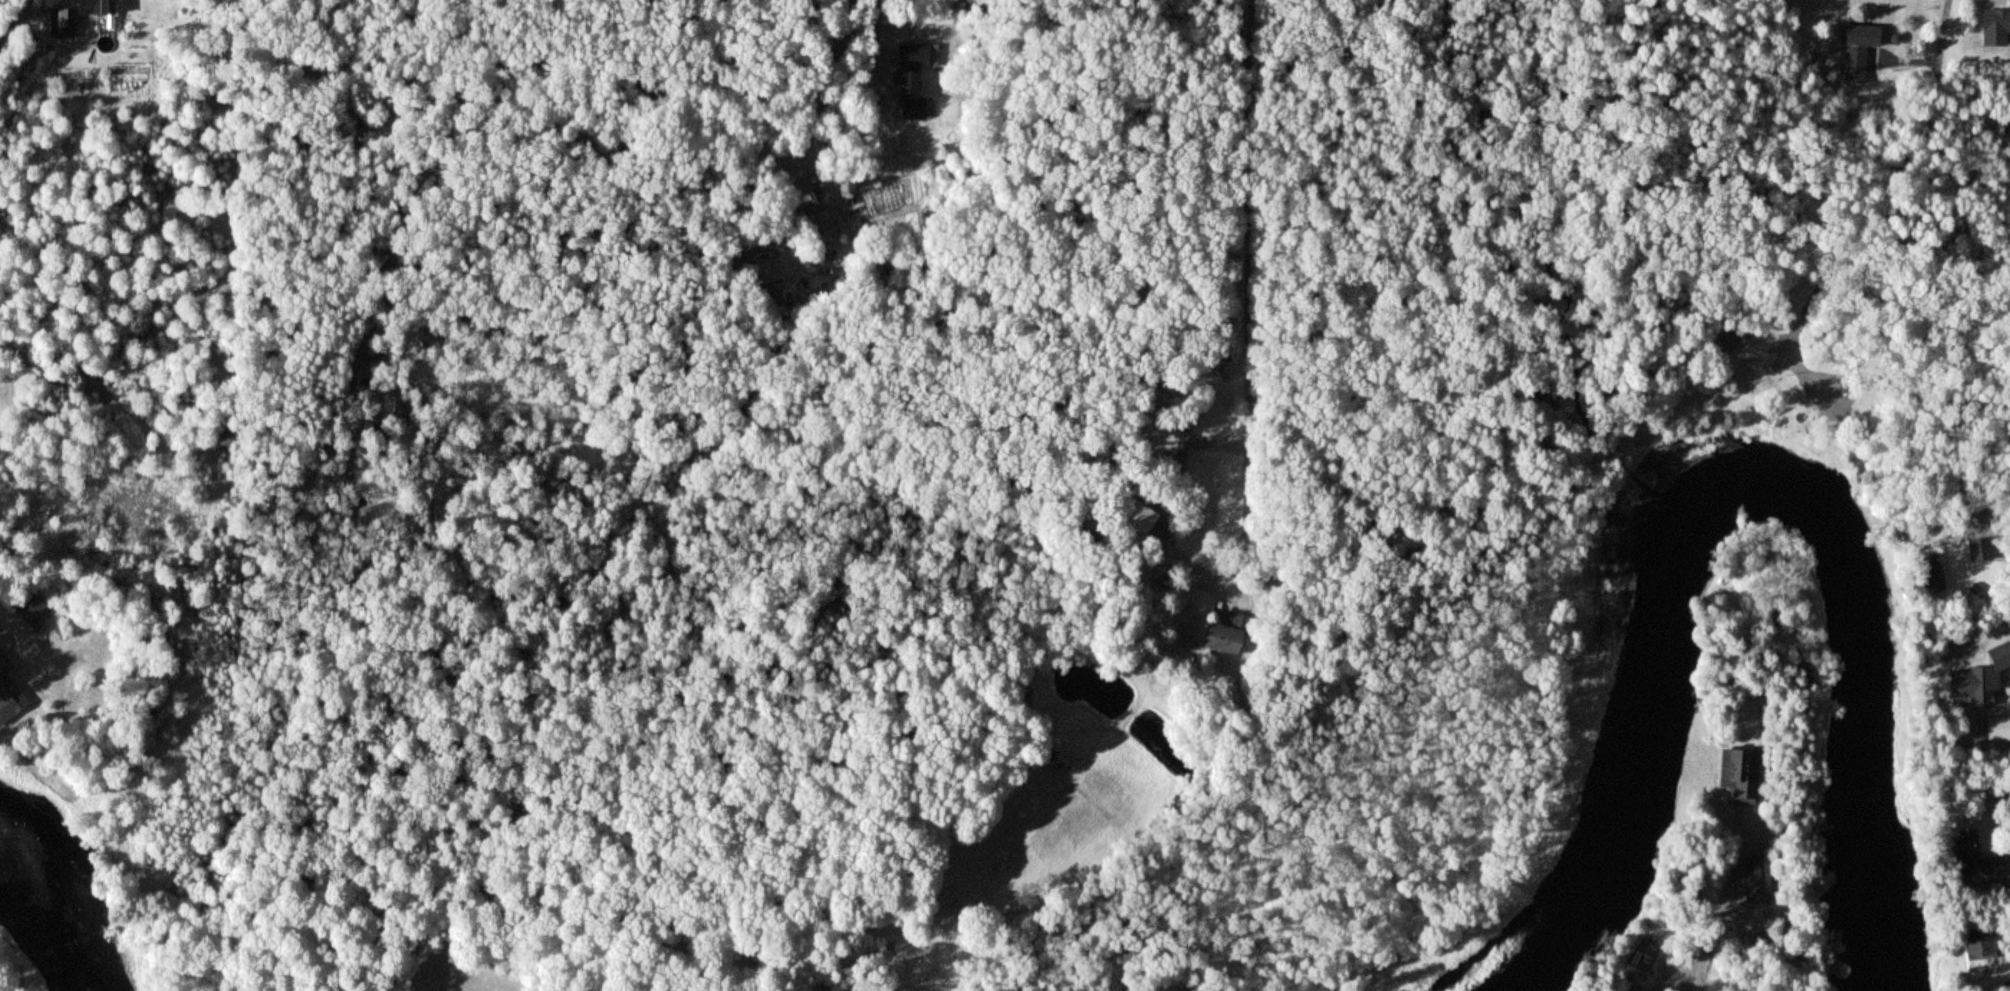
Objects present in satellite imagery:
building: (97, 7)
road: (13, 18)
building: (66, 20)
building: (1995, 27)
building: (1859, 51)
building: (916, 56)
building: (912, 95)
road: (1893, 161)
building: (827, 234)
building: (1143, 519)
building: (1982, 554)
building: (32, 611)
building: (1229, 641)
river: (1860, 662)
building: (1981, 680)
building: (12, 696)
building: (1998, 730)
river: (1635, 773)
building: (1739, 774)
building: (1980, 860)
river: (50, 911)
building: (1980, 947)

